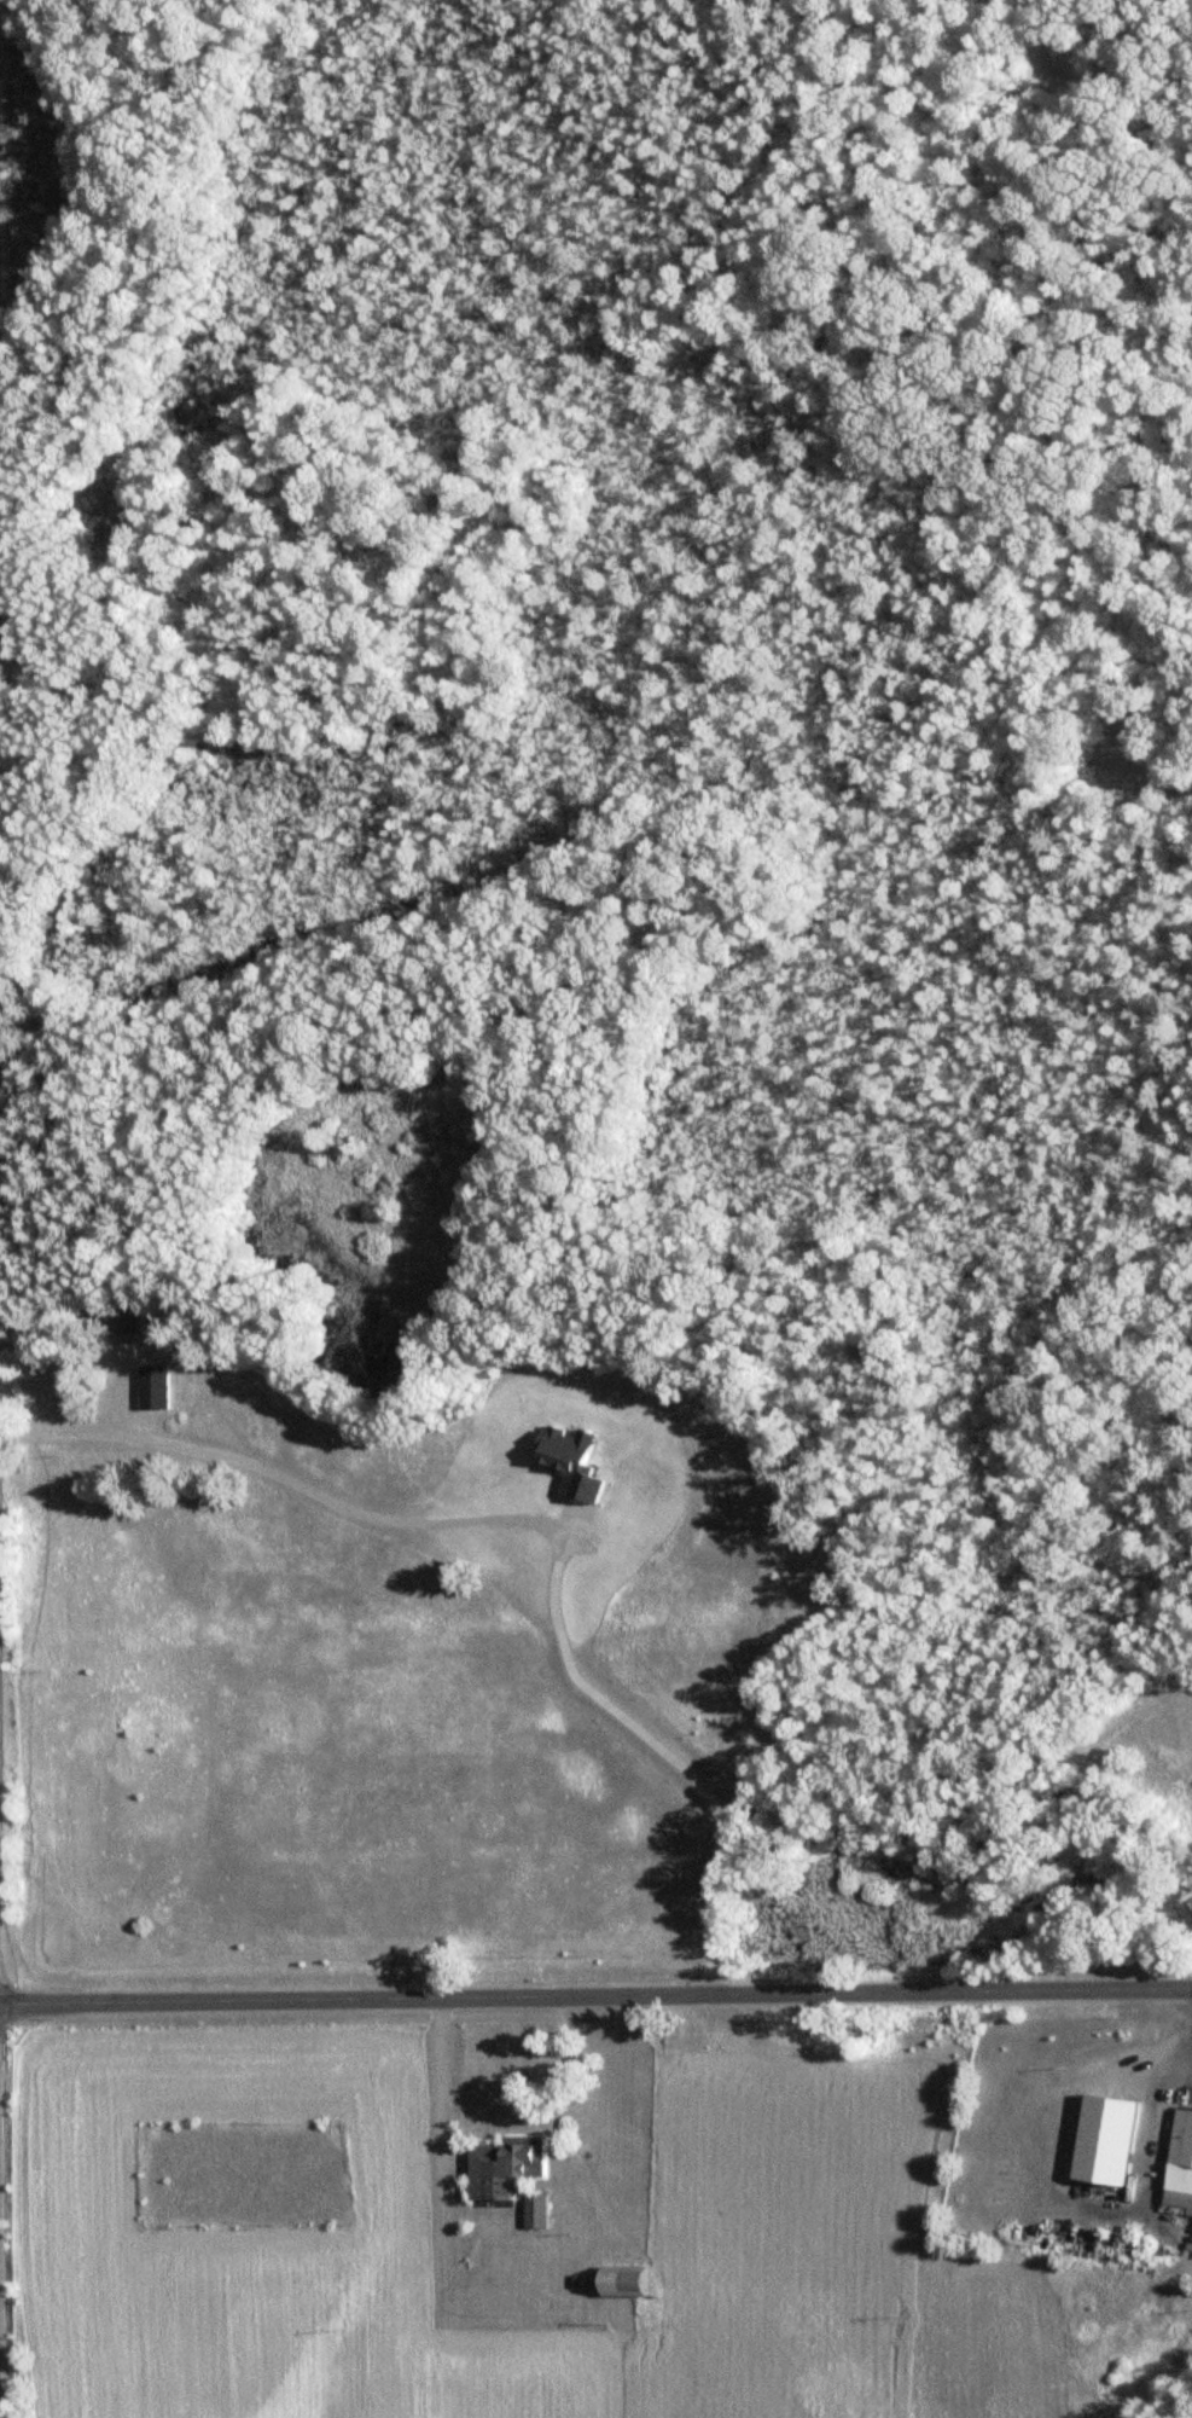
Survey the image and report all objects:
building: (158, 1387)
road: (536, 1525)
road: (595, 1993)
road: (556, 2063)
building: (1178, 2162)
building: (501, 2167)
building: (615, 2283)

